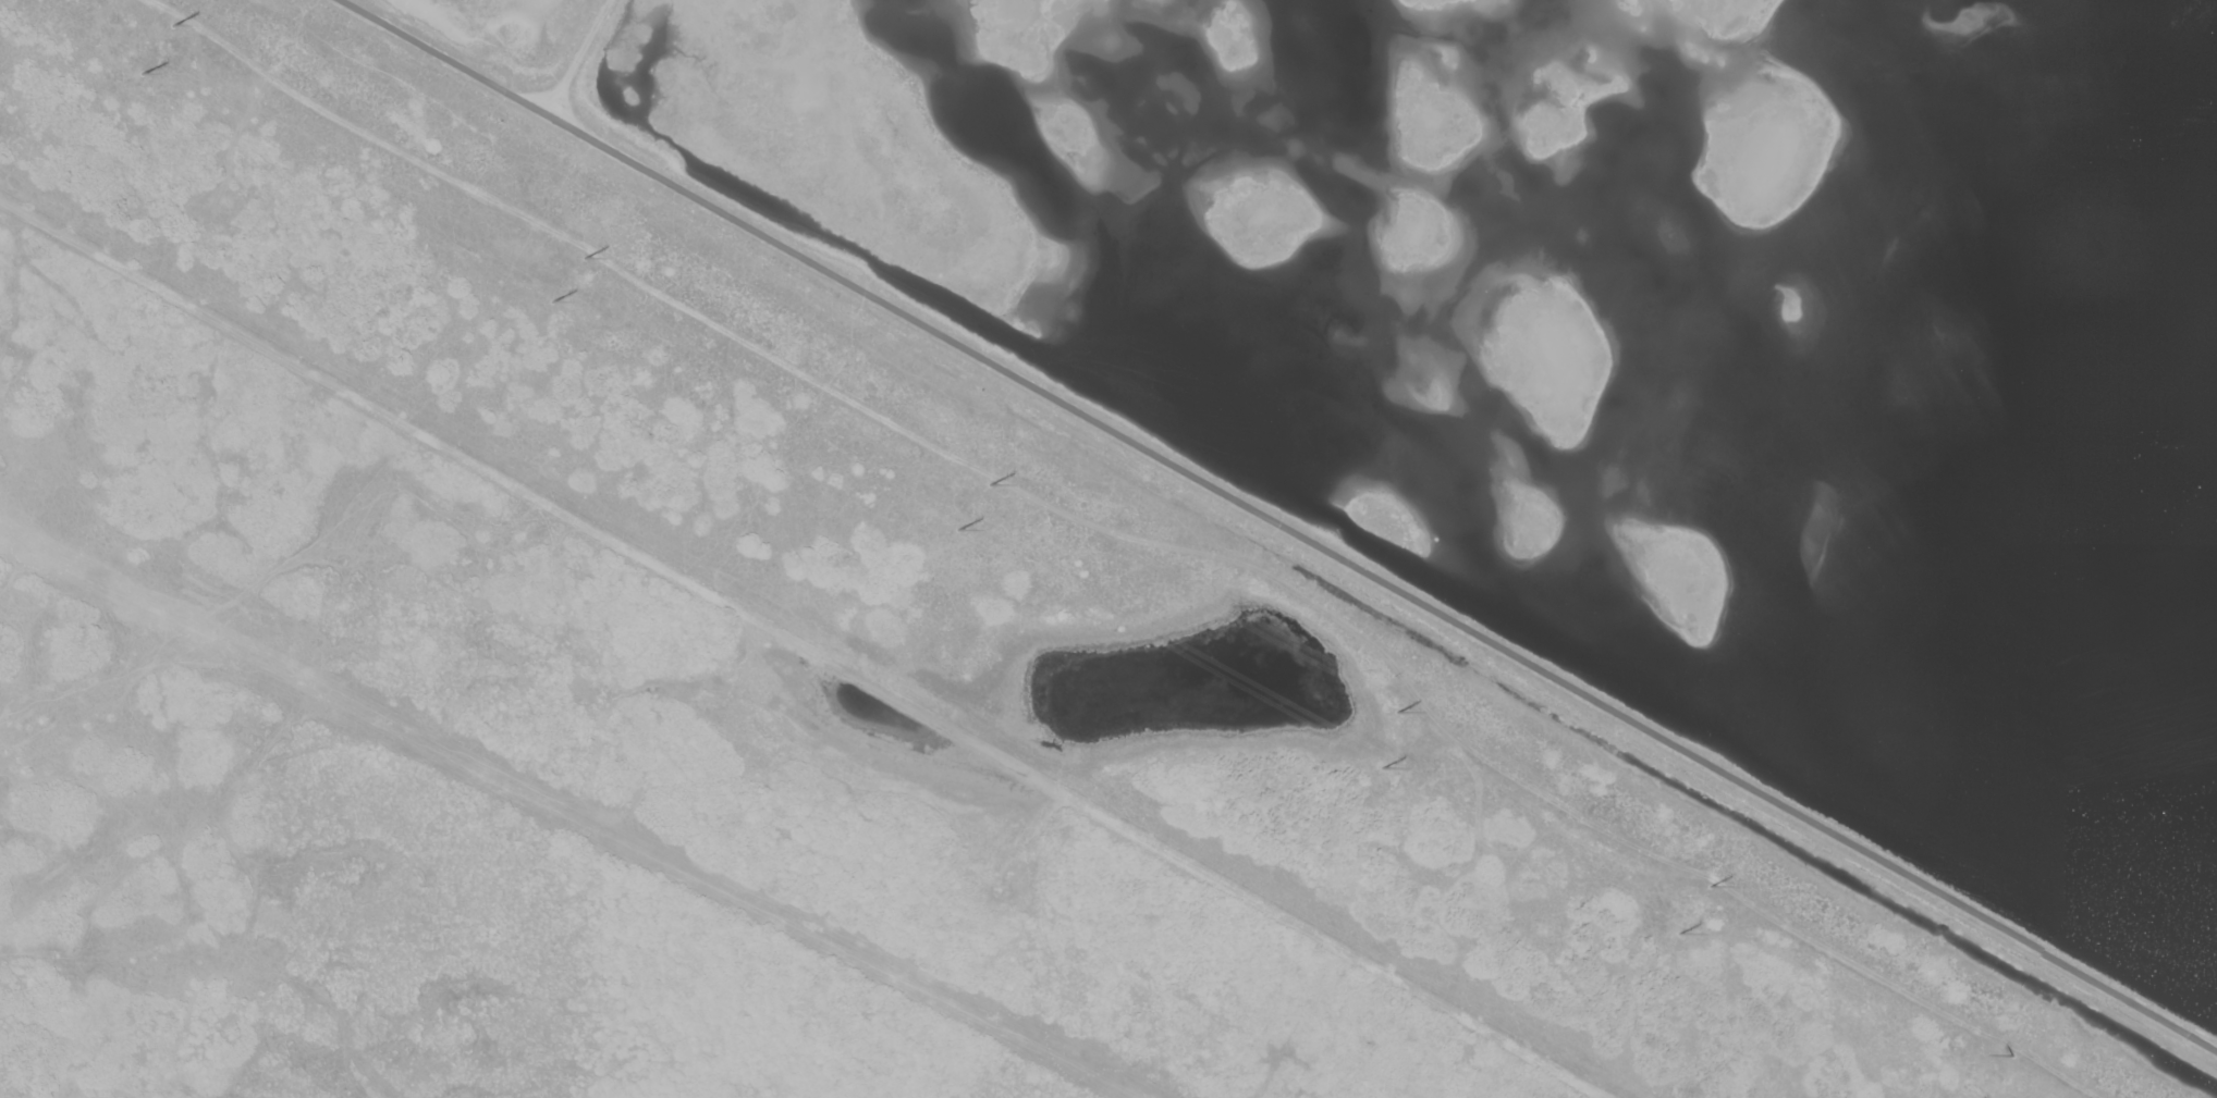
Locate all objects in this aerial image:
power tower: (172, 23)
power tower: (144, 69)
road: (501, 87)
power tower: (584, 256)
power tower: (552, 298)
power plant: (1356, 442)
power tower: (991, 480)
power tower: (956, 526)
road: (1382, 582)
power tower: (1396, 708)
power tower: (1382, 764)
power tower: (1712, 881)
power tower: (1677, 932)
power tower: (2012, 1053)

